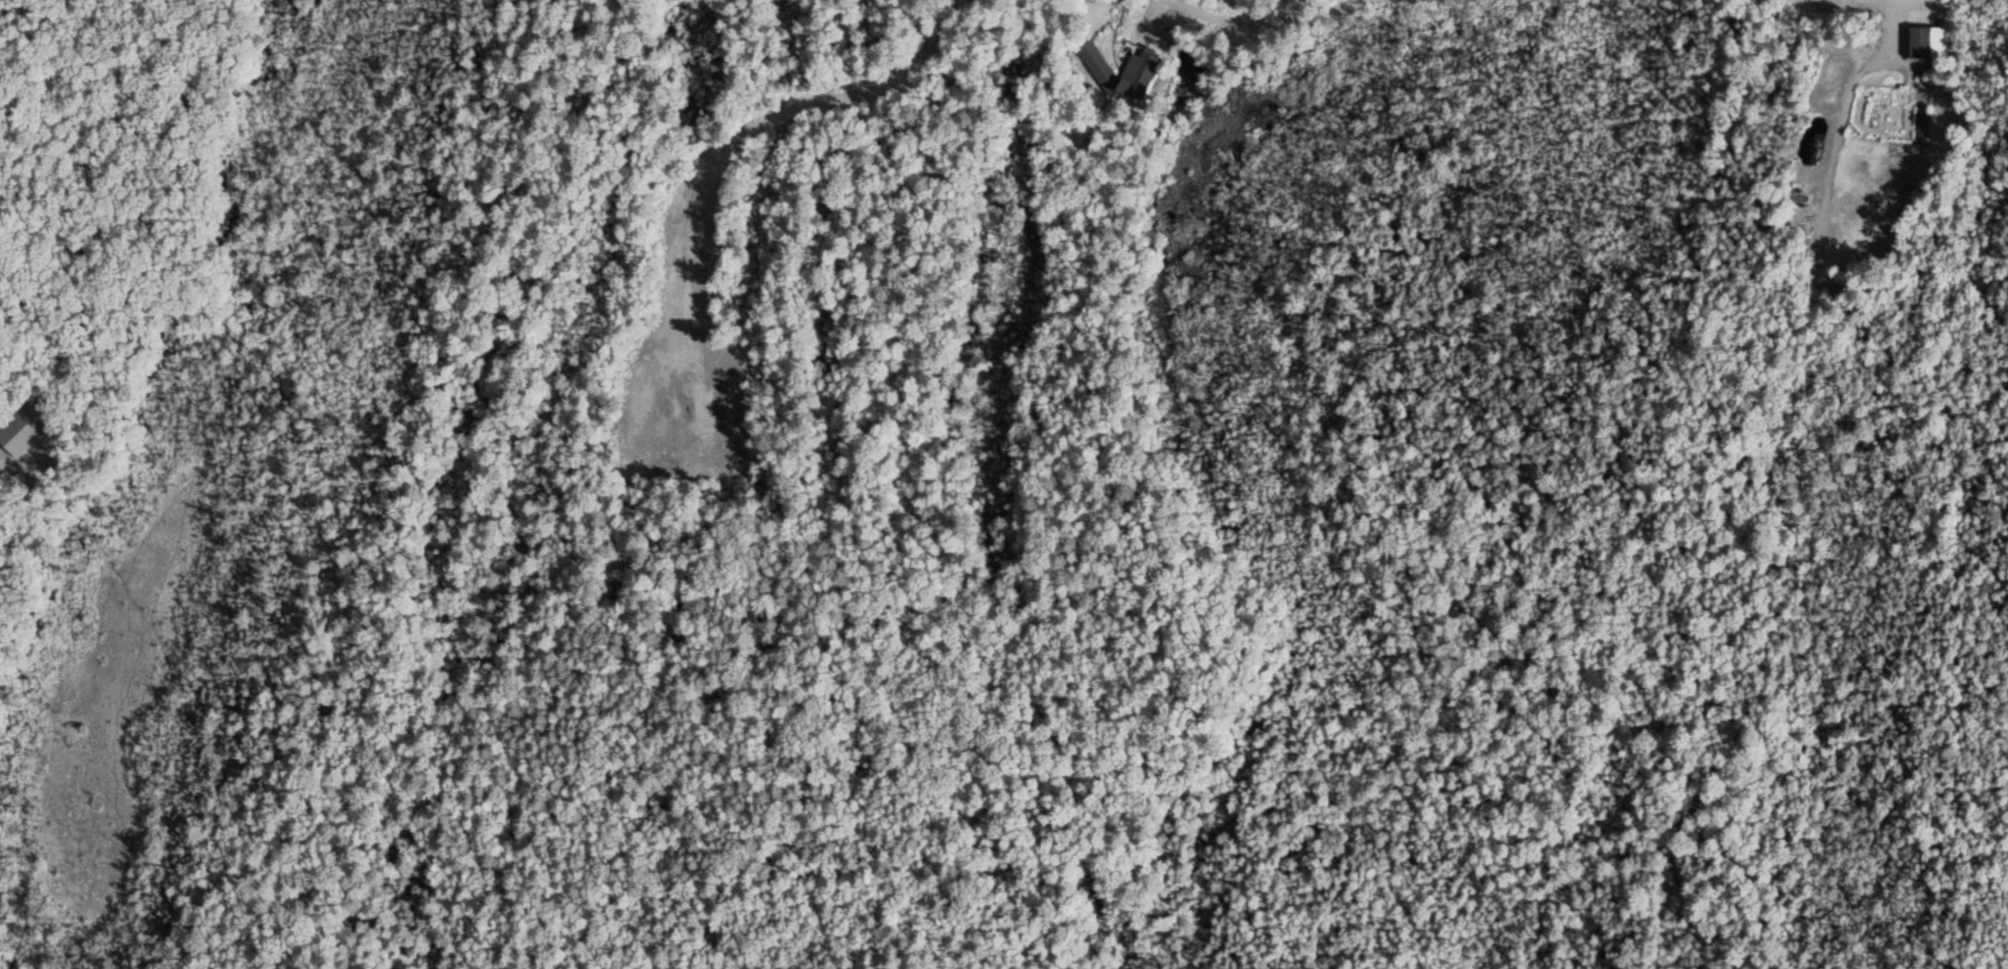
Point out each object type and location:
road: (1260, 21)
building: (1928, 41)
building: (1099, 63)
building: (1147, 72)
building: (30, 432)

